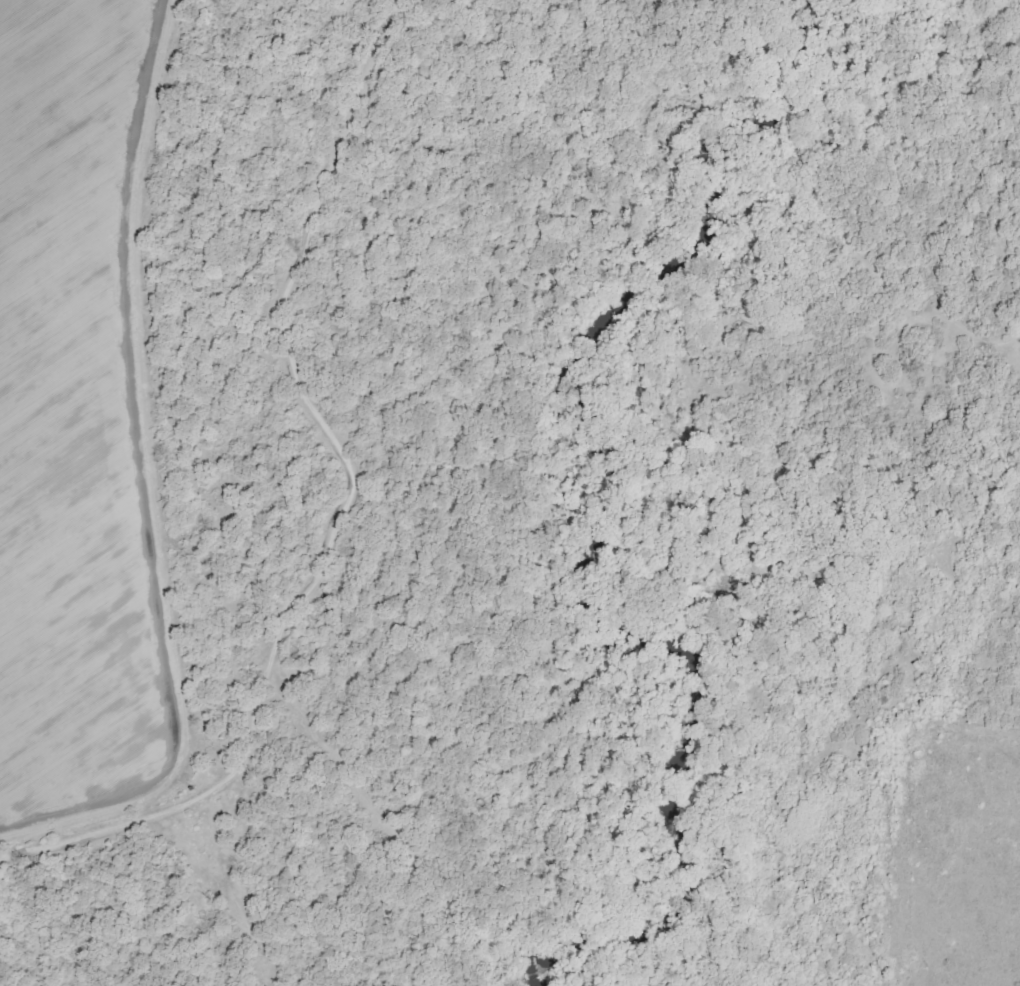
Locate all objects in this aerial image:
river: (618, 481)

